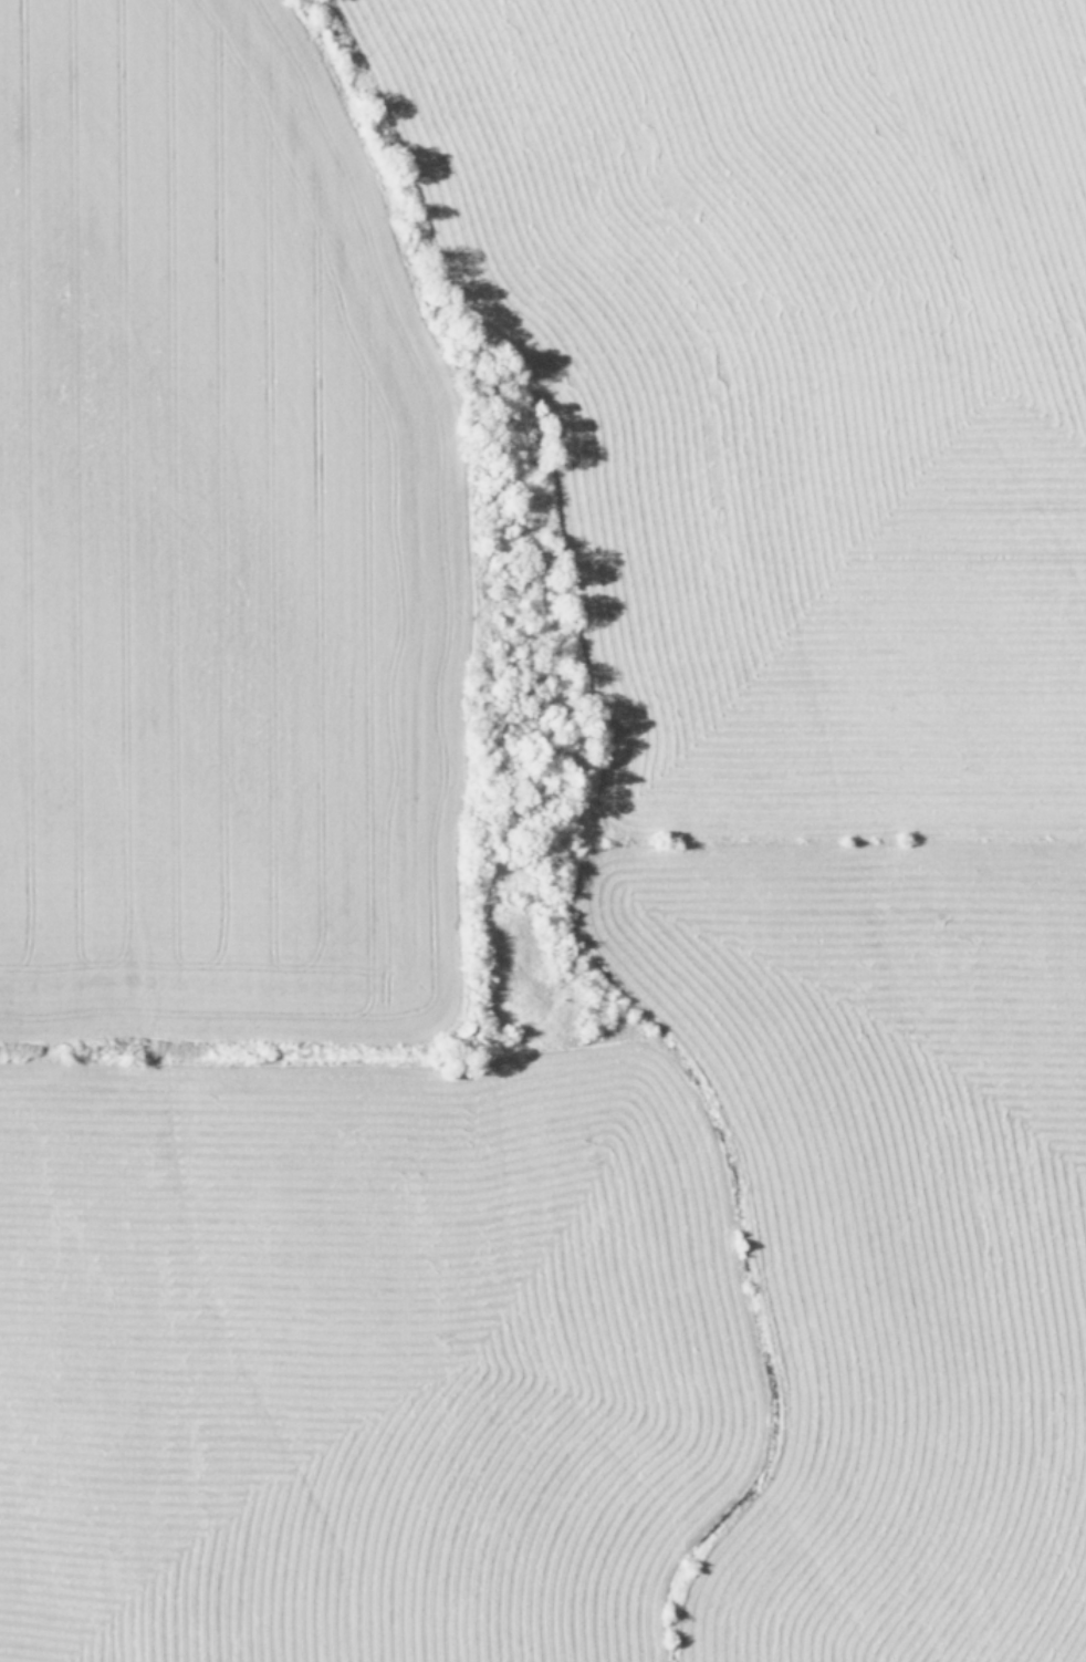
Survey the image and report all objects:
crop: (543, 831)

